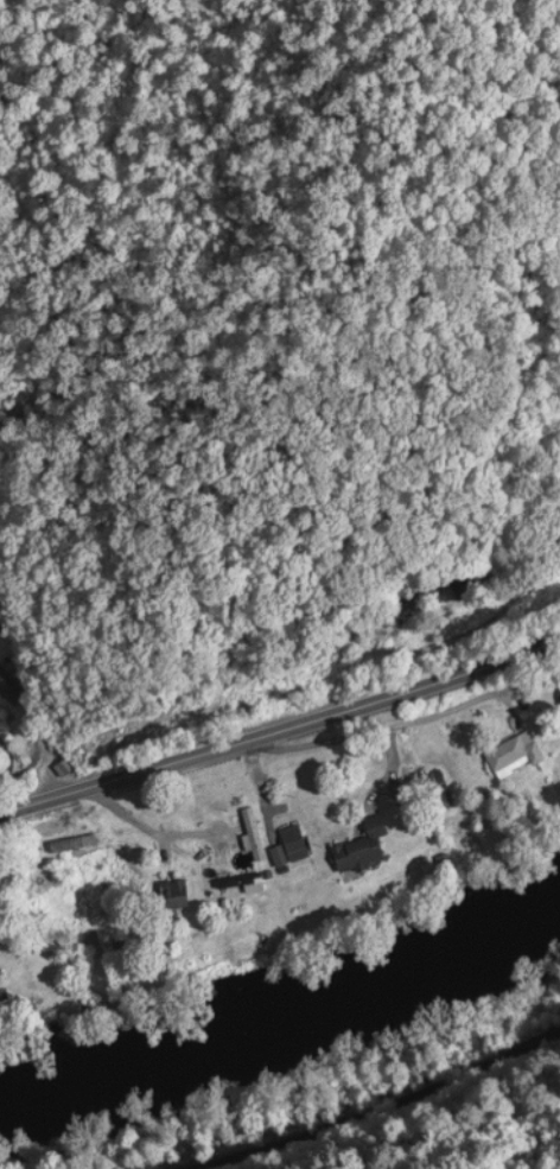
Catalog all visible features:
building: (11, 686)
road: (281, 729)
building: (514, 752)
building: (432, 787)
building: (293, 841)
building: (362, 846)
building: (173, 891)
river: (287, 1035)
road: (349, 1095)
road: (349, 1095)

